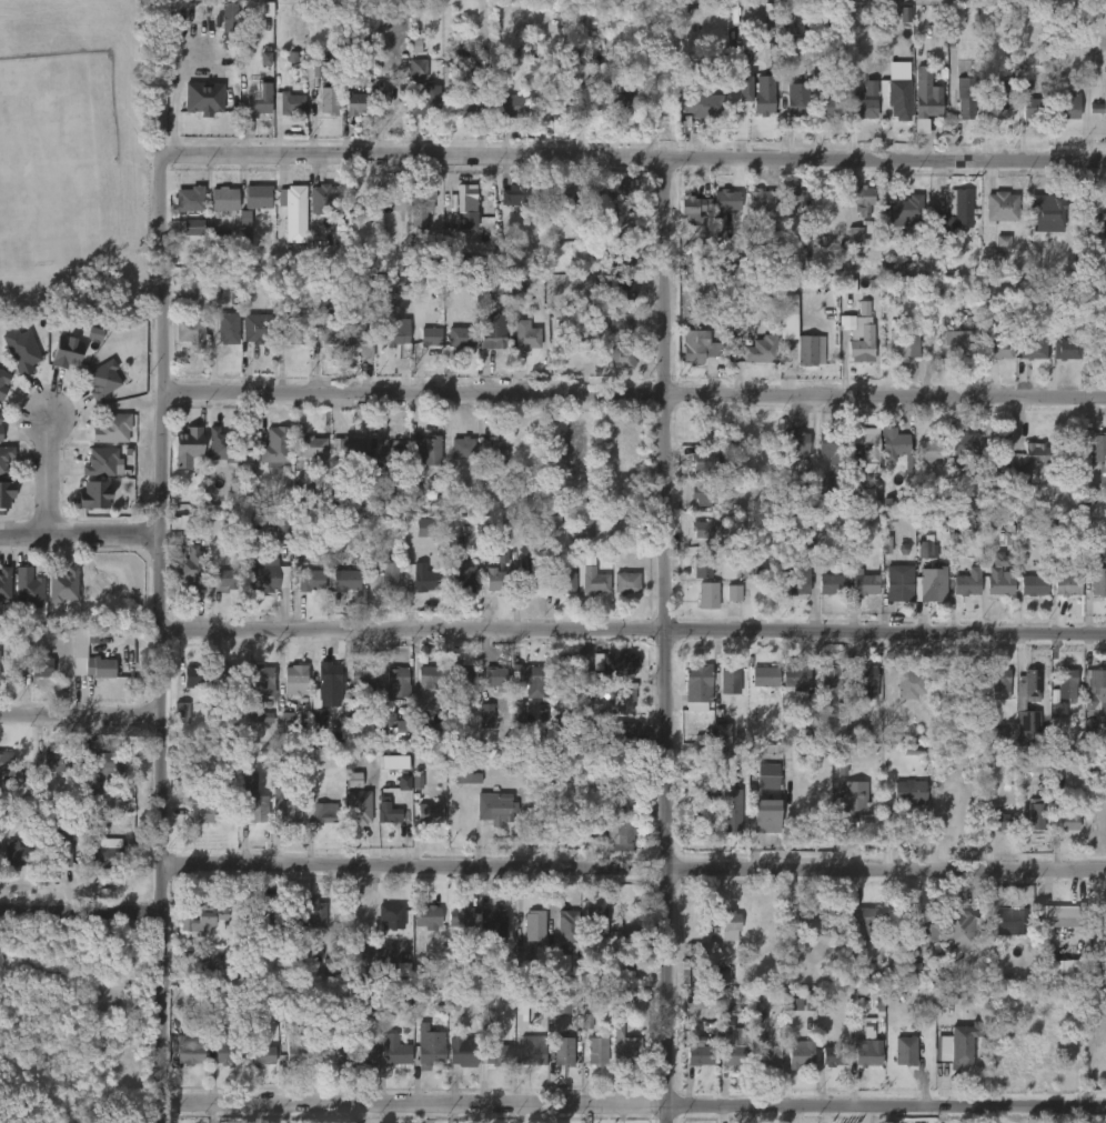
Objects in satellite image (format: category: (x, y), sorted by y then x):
building: (255, 9)
building: (905, 14)
building: (228, 18)
building: (792, 44)
building: (473, 63)
building: (316, 69)
building: (418, 69)
building: (855, 81)
building: (1103, 86)
building: (764, 94)
building: (927, 94)
building: (964, 96)
building: (261, 97)
building: (428, 98)
building: (624, 98)
building: (754, 98)
building: (332, 100)
building: (203, 101)
building: (474, 101)
building: (290, 102)
building: (361, 102)
building: (549, 102)
building: (898, 102)
building: (702, 103)
building: (517, 104)
building: (796, 104)
building: (828, 104)
building: (1063, 104)
building: (864, 107)
building: (994, 107)
building: (1030, 107)
building: (922, 126)
road: (635, 153)
park: (73, 157)
building: (624, 189)
building: (358, 193)
building: (521, 194)
building: (258, 197)
building: (794, 197)
building: (192, 199)
building: (326, 199)
building: (760, 199)
building: (858, 199)
building: (292, 200)
building: (727, 200)
building: (223, 201)
building: (420, 203)
building: (1002, 207)
building: (466, 208)
building: (905, 209)
building: (693, 210)
building: (961, 210)
building: (1046, 210)
building: (243, 219)
building: (613, 222)
building: (938, 222)
building: (1102, 222)
building: (193, 227)
building: (854, 235)
building: (219, 237)
building: (621, 258)
building: (466, 283)
building: (398, 284)
building: (848, 285)
building: (493, 287)
building: (622, 288)
building: (192, 297)
building: (363, 303)
building: (864, 308)
building: (847, 315)
building: (788, 317)
building: (619, 323)
building: (296, 328)
building: (228, 329)
building: (257, 329)
building: (193, 330)
building: (325, 330)
building: (495, 332)
building: (394, 333)
building: (527, 334)
building: (430, 337)
building: (464, 337)
building: (362, 338)
building: (863, 343)
building: (904, 344)
building: (701, 345)
building: (956, 345)
building: (1033, 345)
building: (803, 348)
building: (1066, 348)
building: (763, 349)
building: (999, 349)
building: (22, 350)
building: (63, 352)
building: (624, 357)
building: (104, 379)
building: (1, 384)
road: (640, 393)
building: (1, 418)
building: (0, 425)
building: (110, 428)
building: (1, 434)
building: (795, 442)
building: (964, 442)
building: (894, 443)
building: (864, 444)
building: (192, 445)
building: (224, 445)
building: (348, 445)
building: (834, 445)
building: (274, 447)
building: (310, 447)
building: (463, 447)
building: (1097, 447)
building: (428, 449)
building: (492, 450)
building: (929, 451)
building: (6, 458)
building: (390, 458)
building: (103, 462)
building: (706, 464)
building: (1028, 464)
building: (1102, 474)
road: (46, 475)
building: (823, 483)
building: (340, 488)
building: (415, 489)
building: (705, 492)
building: (6, 493)
building: (92, 494)
building: (306, 495)
building: (1093, 495)
building: (893, 502)
building: (181, 522)
building: (604, 523)
building: (428, 528)
building: (586, 528)
building: (553, 529)
building: (704, 529)
building: (282, 532)
road: (83, 537)
building: (334, 542)
building: (925, 543)
building: (701, 561)
building: (194, 568)
building: (591, 574)
building: (792, 575)
building: (385, 576)
building: (999, 576)
building: (265, 578)
building: (466, 578)
building: (527, 578)
building: (224, 579)
building: (429, 579)
building: (309, 580)
building: (345, 580)
building: (500, 580)
building: (560, 581)
building: (4, 582)
building: (630, 582)
building: (865, 582)
building: (1067, 582)
building: (1097, 582)
building: (833, 583)
building: (966, 583)
building: (929, 584)
building: (1033, 584)
building: (61, 585)
building: (29, 586)
building: (899, 588)
building: (733, 593)
building: (708, 594)
road: (634, 632)
road: (163, 634)
building: (92, 635)
road: (671, 639)
building: (0, 659)
building: (624, 664)
building: (42, 666)
building: (99, 668)
building: (461, 673)
building: (228, 674)
building: (526, 674)
building: (796, 675)
building: (198, 676)
building: (429, 676)
building: (765, 676)
building: (495, 678)
building: (293, 680)
building: (730, 680)
building: (831, 680)
building: (864, 680)
building: (398, 681)
building: (361, 682)
building: (698, 682)
building: (1060, 682)
building: (261, 683)
building: (909, 684)
building: (997, 684)
building: (1027, 686)
building: (1094, 691)
building: (324, 692)
building: (626, 699)
building: (181, 712)
road: (81, 713)
building: (263, 718)
building: (389, 723)
building: (291, 726)
building: (1027, 726)
building: (425, 732)
building: (615, 732)
building: (723, 732)
building: (996, 736)
building: (584, 760)
building: (107, 761)
building: (57, 762)
building: (394, 762)
building: (8, 766)
building: (772, 776)
building: (469, 779)
building: (354, 780)
building: (403, 783)
building: (93, 791)
building: (909, 791)
building: (251, 800)
building: (625, 800)
building: (847, 800)
building: (202, 806)
building: (285, 806)
building: (362, 808)
building: (499, 808)
building: (320, 813)
building: (389, 813)
building: (431, 813)
building: (1034, 814)
building: (772, 818)
building: (1069, 819)
building: (734, 820)
building: (698, 822)
building: (1002, 822)
building: (590, 832)
building: (621, 834)
building: (62, 850)
building: (111, 853)
building: (19, 854)
road: (634, 869)
building: (268, 909)
road: (80, 912)
building: (311, 913)
building: (203, 916)
building: (428, 916)
building: (1056, 916)
building: (1100, 918)
building: (389, 919)
building: (481, 919)
building: (866, 920)
building: (812, 921)
building: (595, 923)
building: (534, 924)
building: (731, 924)
building: (1008, 924)
building: (571, 925)
building: (959, 929)
building: (925, 930)
building: (696, 954)
building: (790, 956)
building: (210, 957)
building: (521, 963)
building: (559, 965)
building: (330, 967)
building: (1063, 969)
building: (388, 970)
building: (403, 970)
building: (914, 970)
building: (953, 977)
building: (723, 995)
building: (703, 997)
building: (624, 1000)
building: (808, 1000)
building: (214, 1001)
building: (566, 1004)
building: (794, 1004)
building: (957, 1045)
building: (433, 1047)
building: (731, 1047)
building: (189, 1049)
building: (296, 1049)
building: (399, 1050)
building: (566, 1050)
building: (905, 1050)
building: (366, 1051)
building: (629, 1051)
building: (462, 1052)
building: (535, 1052)
building: (596, 1052)
building: (229, 1053)
building: (500, 1053)
building: (866, 1053)
building: (263, 1054)
building: (700, 1054)
building: (767, 1054)
building: (331, 1055)
building: (801, 1055)
building: (834, 1055)
road: (633, 1105)

